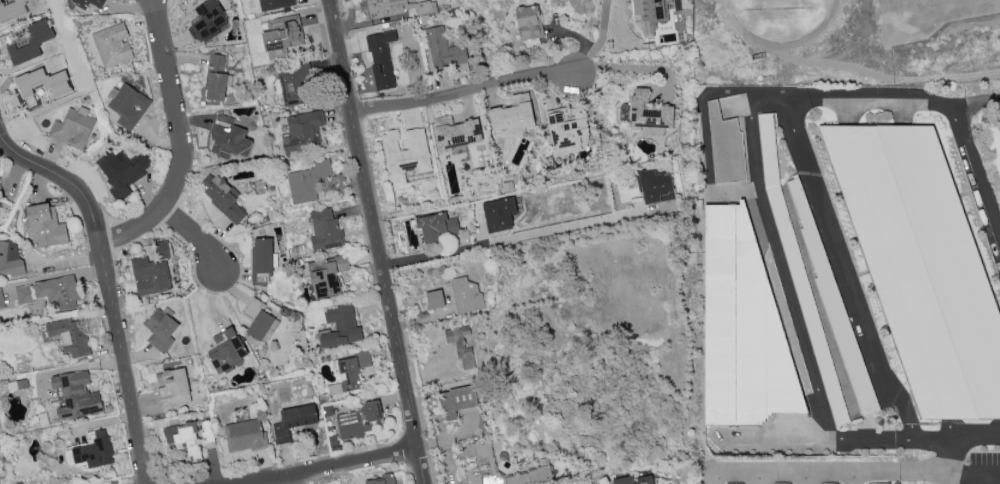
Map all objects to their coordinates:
building: (88, 3)
building: (275, 4)
park: (909, 5)
building: (385, 8)
building: (12, 10)
building: (651, 12)
track: (780, 18)
building: (207, 21)
building: (528, 22)
building: (284, 34)
road: (599, 41)
building: (29, 42)
building: (113, 45)
building: (443, 49)
building: (276, 54)
building: (381, 59)
road: (632, 67)
building: (217, 78)
building: (43, 82)
building: (295, 84)
road: (462, 90)
road: (973, 100)
building: (128, 106)
road: (3, 109)
building: (514, 114)
building: (649, 114)
building: (73, 127)
building: (567, 130)
building: (456, 132)
building: (303, 133)
building: (993, 138)
building: (229, 139)
road: (180, 140)
building: (725, 146)
building: (406, 153)
building: (123, 171)
building: (307, 181)
road: (756, 183)
building: (656, 184)
building: (0, 194)
building: (221, 197)
building: (498, 214)
building: (436, 225)
building: (45, 226)
building: (325, 229)
road: (197, 232)
road: (517, 236)
road: (375, 242)
building: (162, 249)
building: (11, 259)
building: (261, 260)
building: (922, 264)
building: (798, 270)
road: (844, 270)
building: (327, 275)
building: (151, 276)
road: (109, 286)
building: (58, 292)
building: (465, 295)
building: (434, 299)
building: (2, 300)
building: (836, 310)
building: (739, 312)
building: (258, 319)
building: (341, 326)
building: (161, 329)
building: (71, 336)
building: (460, 344)
building: (226, 350)
building: (354, 370)
building: (174, 388)
building: (77, 395)
building: (457, 400)
building: (294, 421)
building: (358, 421)
building: (245, 435)
building: (185, 439)
building: (333, 441)
building: (94, 450)
road: (947, 456)
road: (323, 465)
building: (493, 470)
road: (901, 471)
road: (780, 472)
road: (968, 474)
road: (285, 478)
road: (854, 478)
building: (383, 479)
building: (634, 480)
building: (734, 483)
building: (780, 483)
building: (828, 483)

